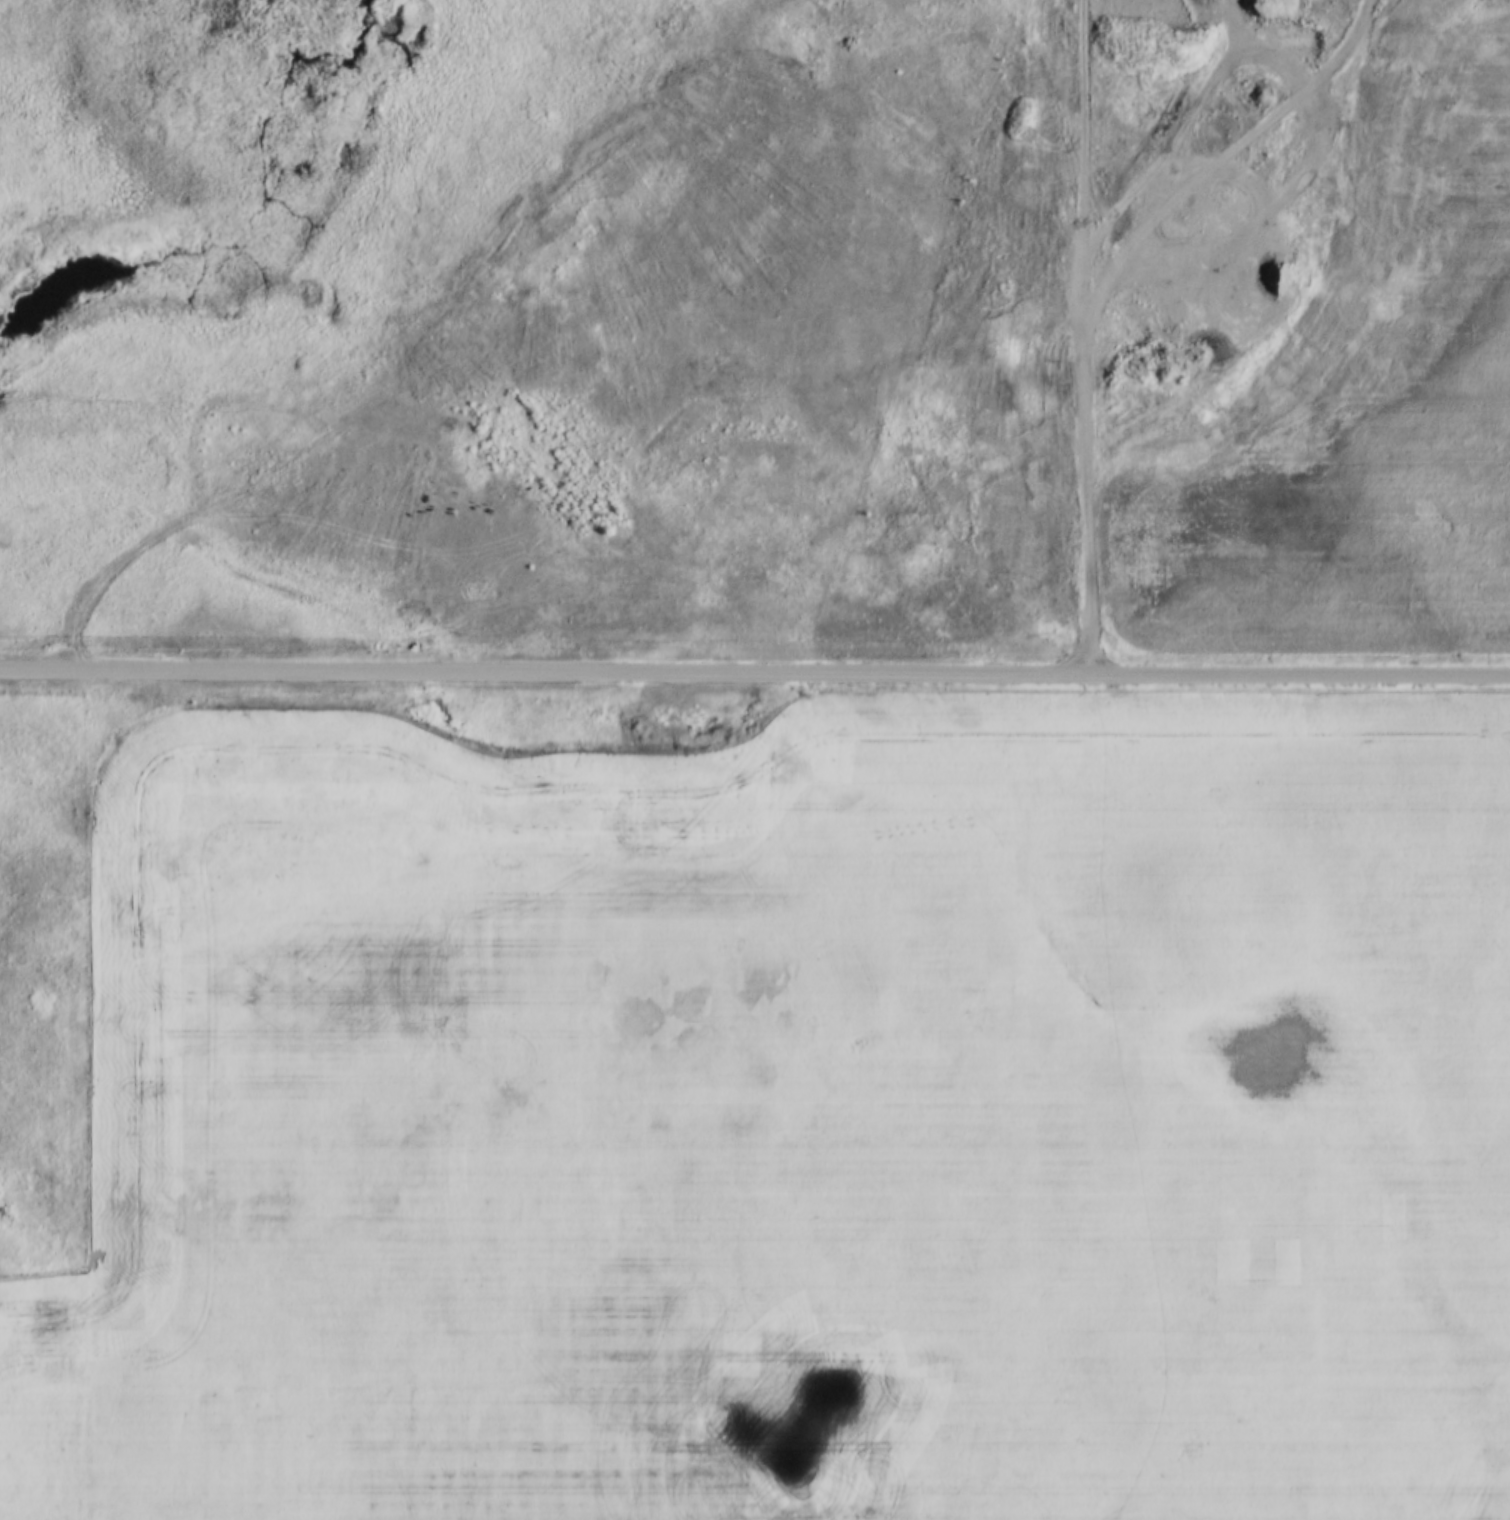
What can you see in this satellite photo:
road: (267, 480)
road: (755, 665)

